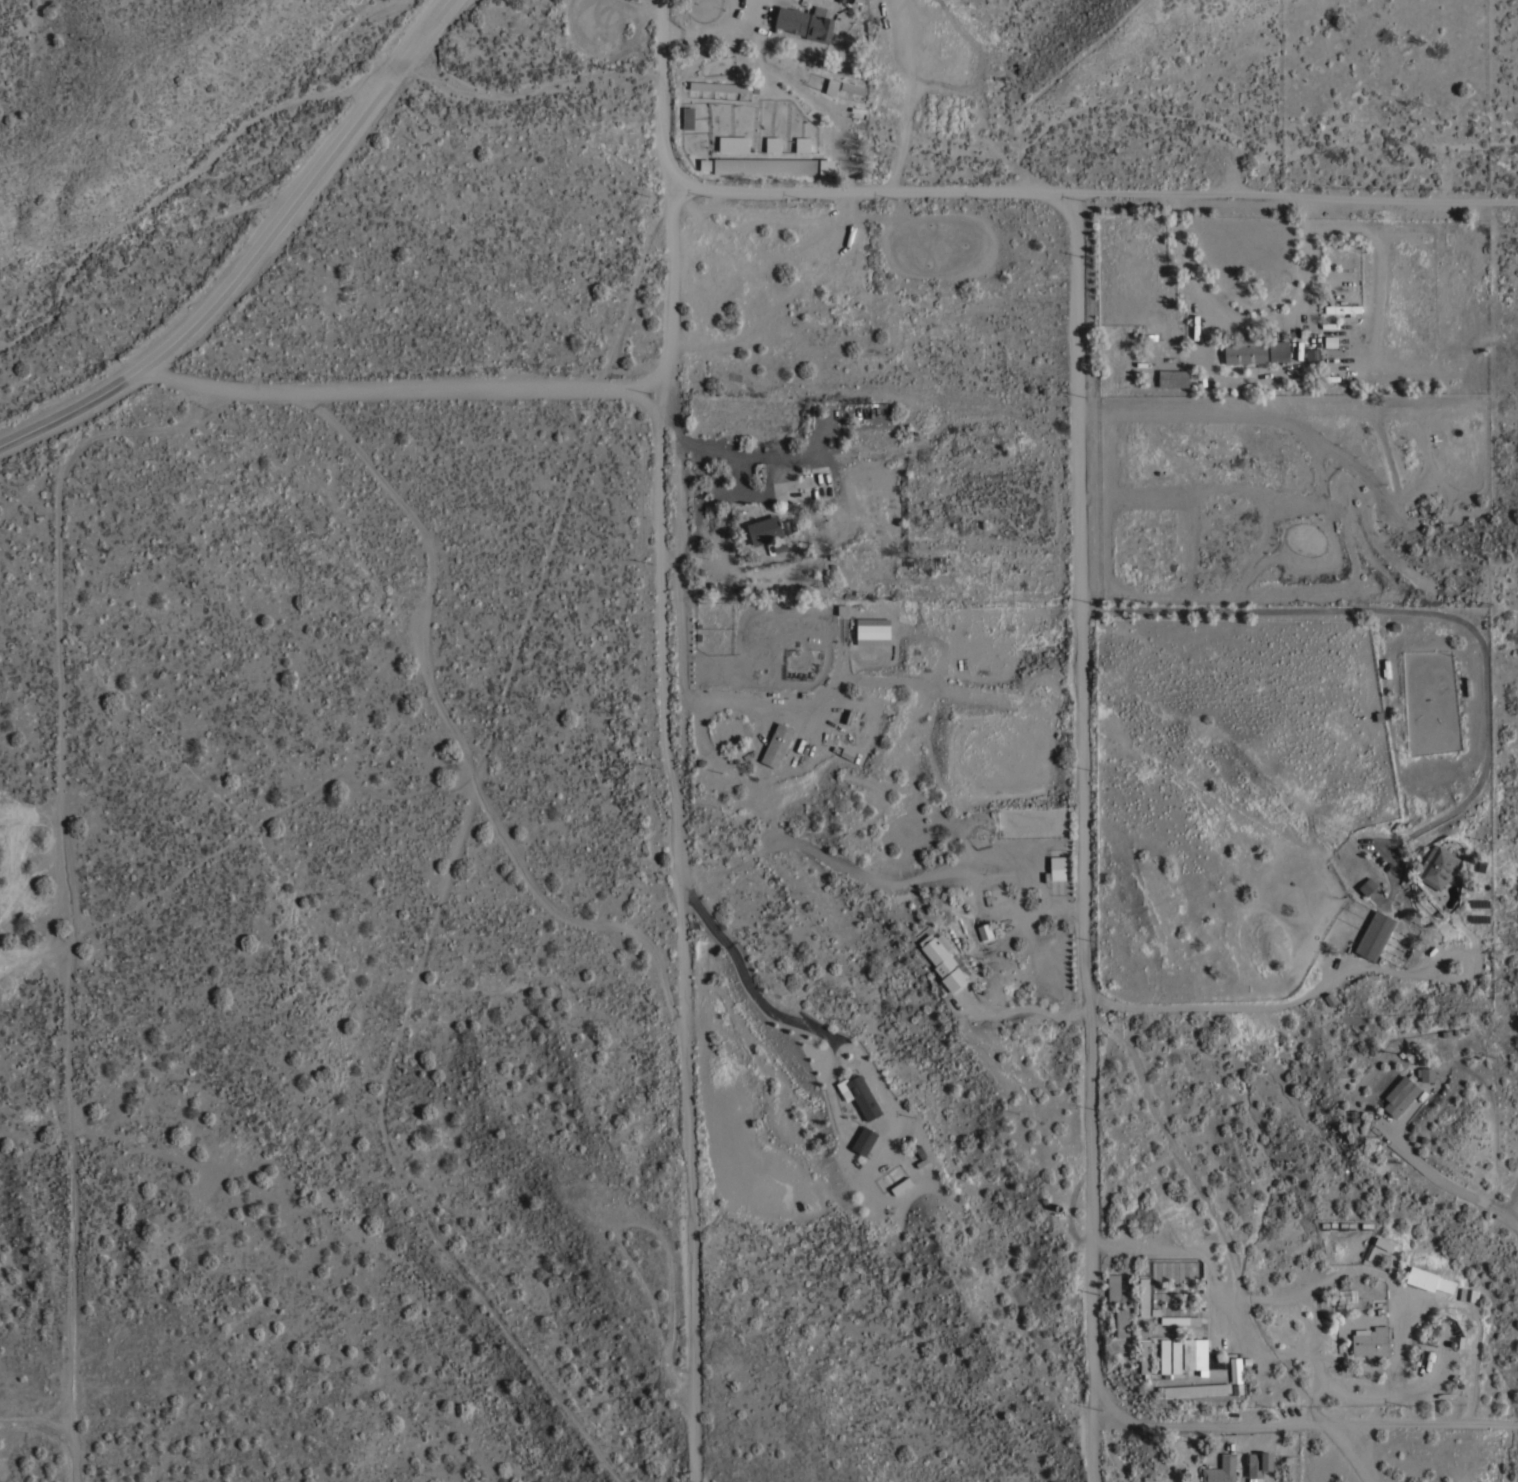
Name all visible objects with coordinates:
building: (805, 22)
road: (711, 28)
building: (831, 86)
building: (720, 87)
building: (852, 88)
building: (788, 117)
building: (688, 118)
building: (729, 143)
building: (799, 143)
building: (701, 164)
building: (765, 165)
building: (826, 166)
road: (674, 193)
road: (1096, 193)
road: (284, 213)
building: (1341, 307)
road: (1252, 321)
building: (1327, 341)
building: (1278, 349)
building: (1246, 350)
building: (1312, 352)
building: (1173, 377)
road: (406, 387)
road: (45, 422)
road: (733, 454)
building: (807, 487)
building: (767, 531)
road: (660, 594)
road: (681, 594)
road: (1415, 614)
building: (873, 630)
building: (776, 744)
road: (1085, 837)
building: (1437, 866)
building: (1057, 867)
building: (1367, 884)
building: (984, 931)
building: (1374, 934)
building: (943, 961)
road: (746, 985)
road: (1022, 1006)
road: (1220, 1008)
building: (1427, 1073)
building: (1399, 1094)
building: (862, 1096)
building: (863, 1139)
road: (689, 1140)
road: (1186, 1169)
road: (1445, 1184)
building: (1428, 1279)
road: (1327, 1280)
building: (1113, 1288)
building: (1143, 1295)
road: (1224, 1312)
building: (1180, 1319)
building: (1121, 1321)
building: (1282, 1326)
building: (1370, 1340)
building: (1194, 1352)
building: (1164, 1355)
building: (1144, 1357)
building: (1219, 1359)
building: (1235, 1369)
building: (1194, 1388)
road: (1300, 1424)
road: (1360, 1453)
building: (1258, 1464)
building: (1220, 1469)

